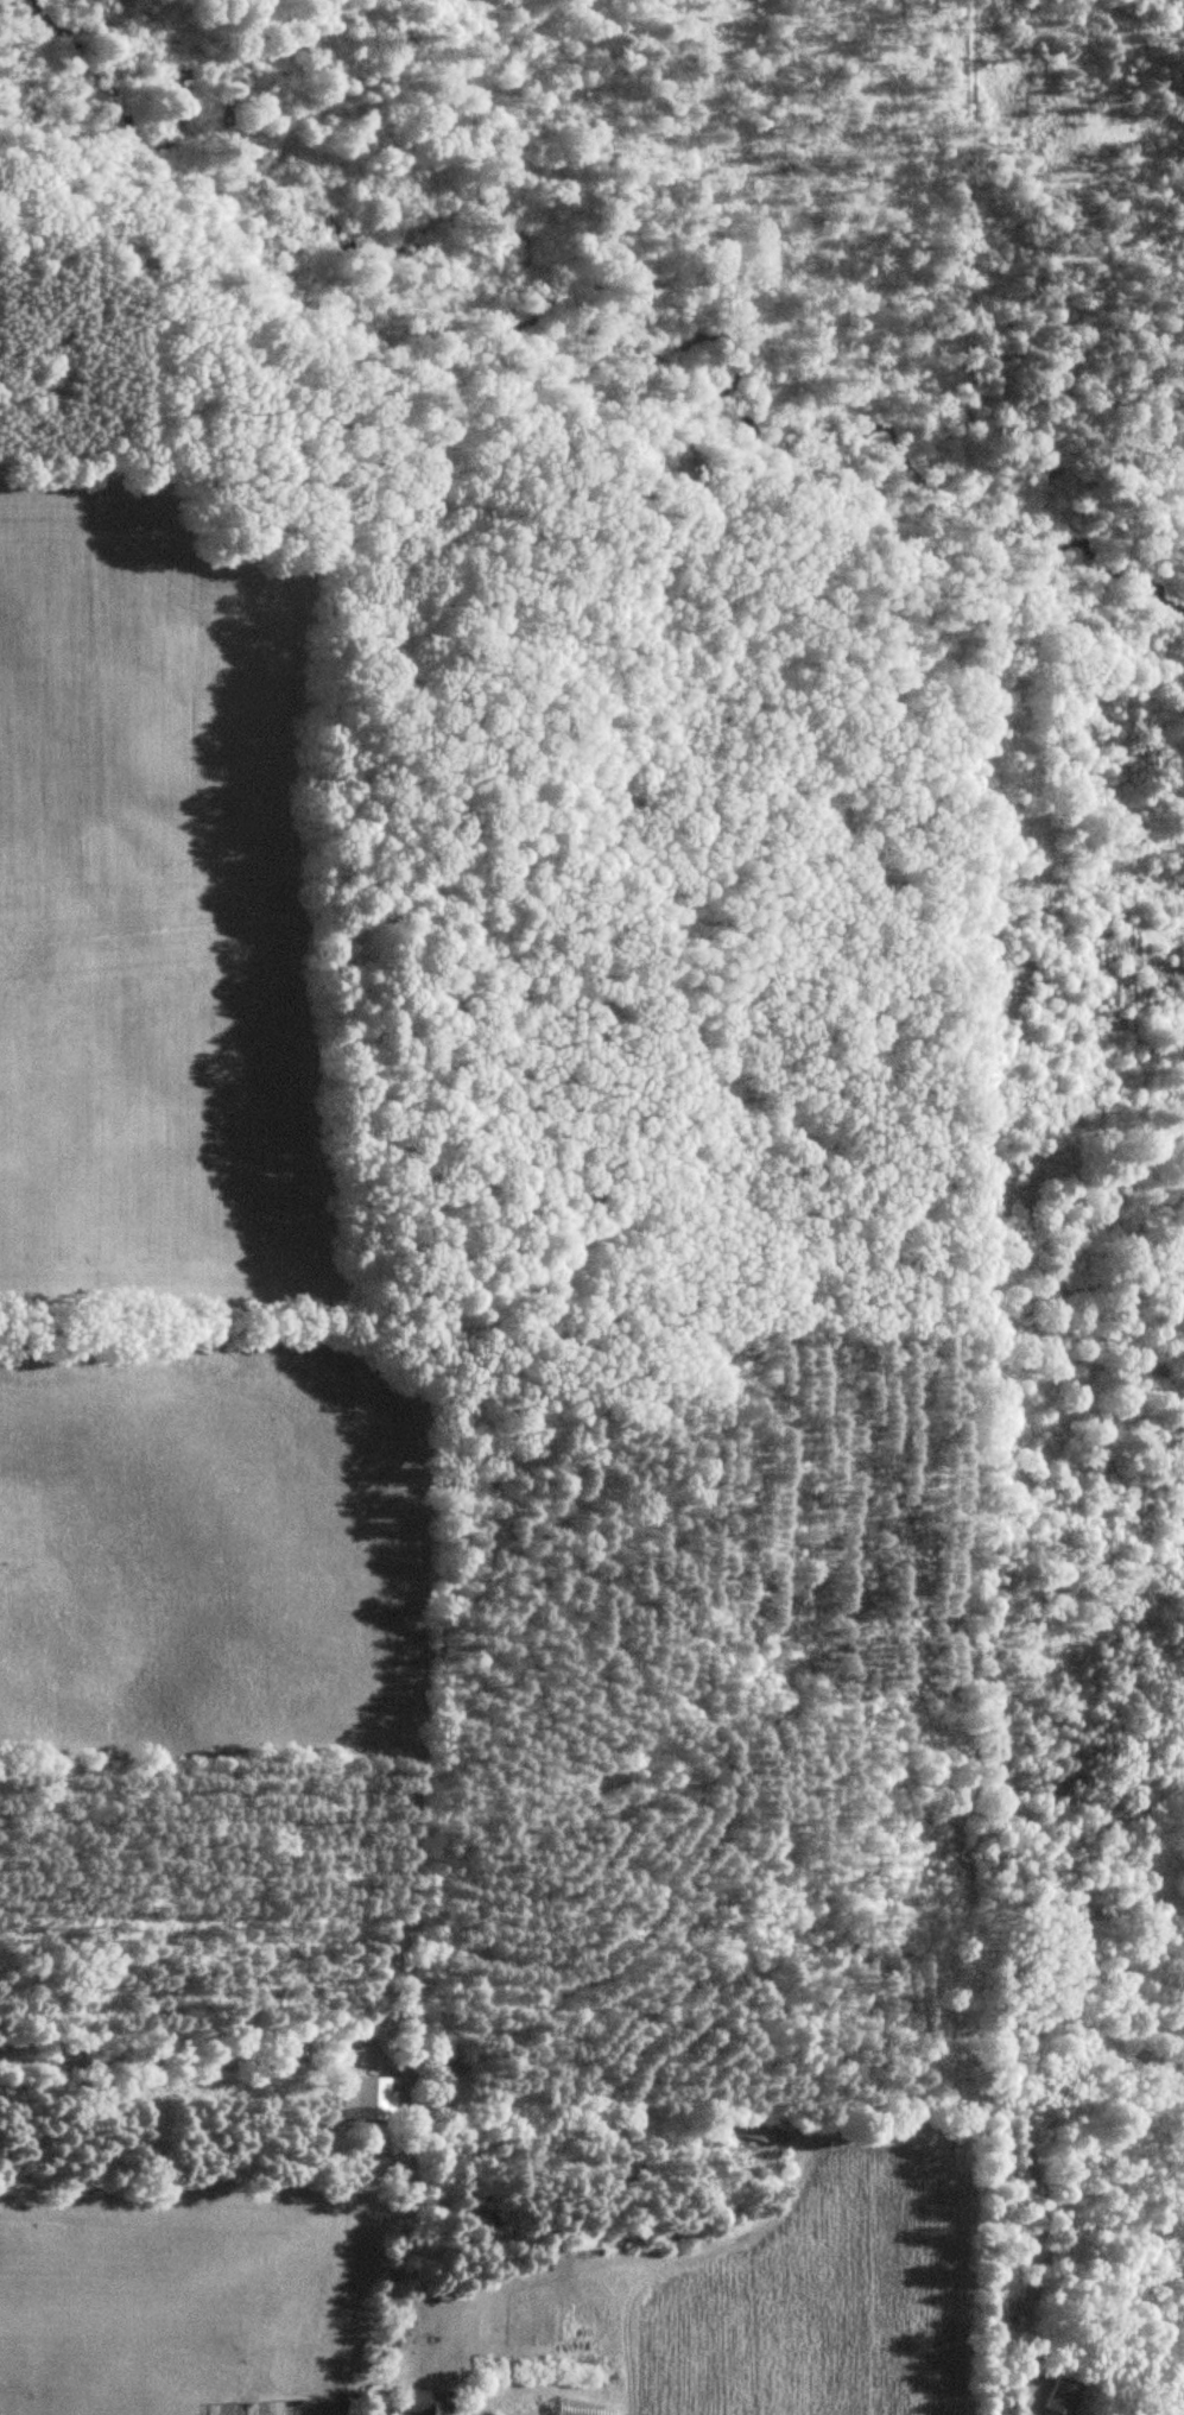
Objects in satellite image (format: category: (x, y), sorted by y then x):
building: (369, 2098)
road: (690, 2259)
road: (395, 2271)
building: (412, 2401)

